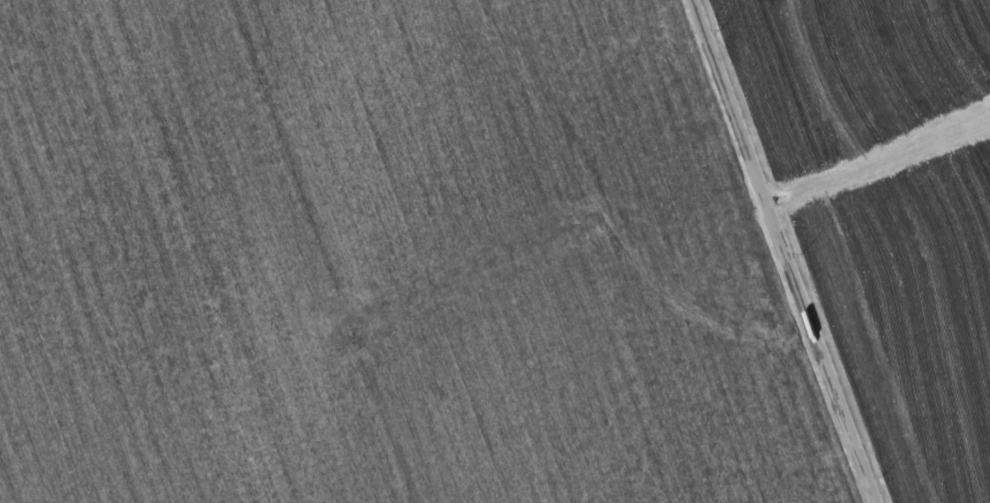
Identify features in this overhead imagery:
road: (780, 251)

